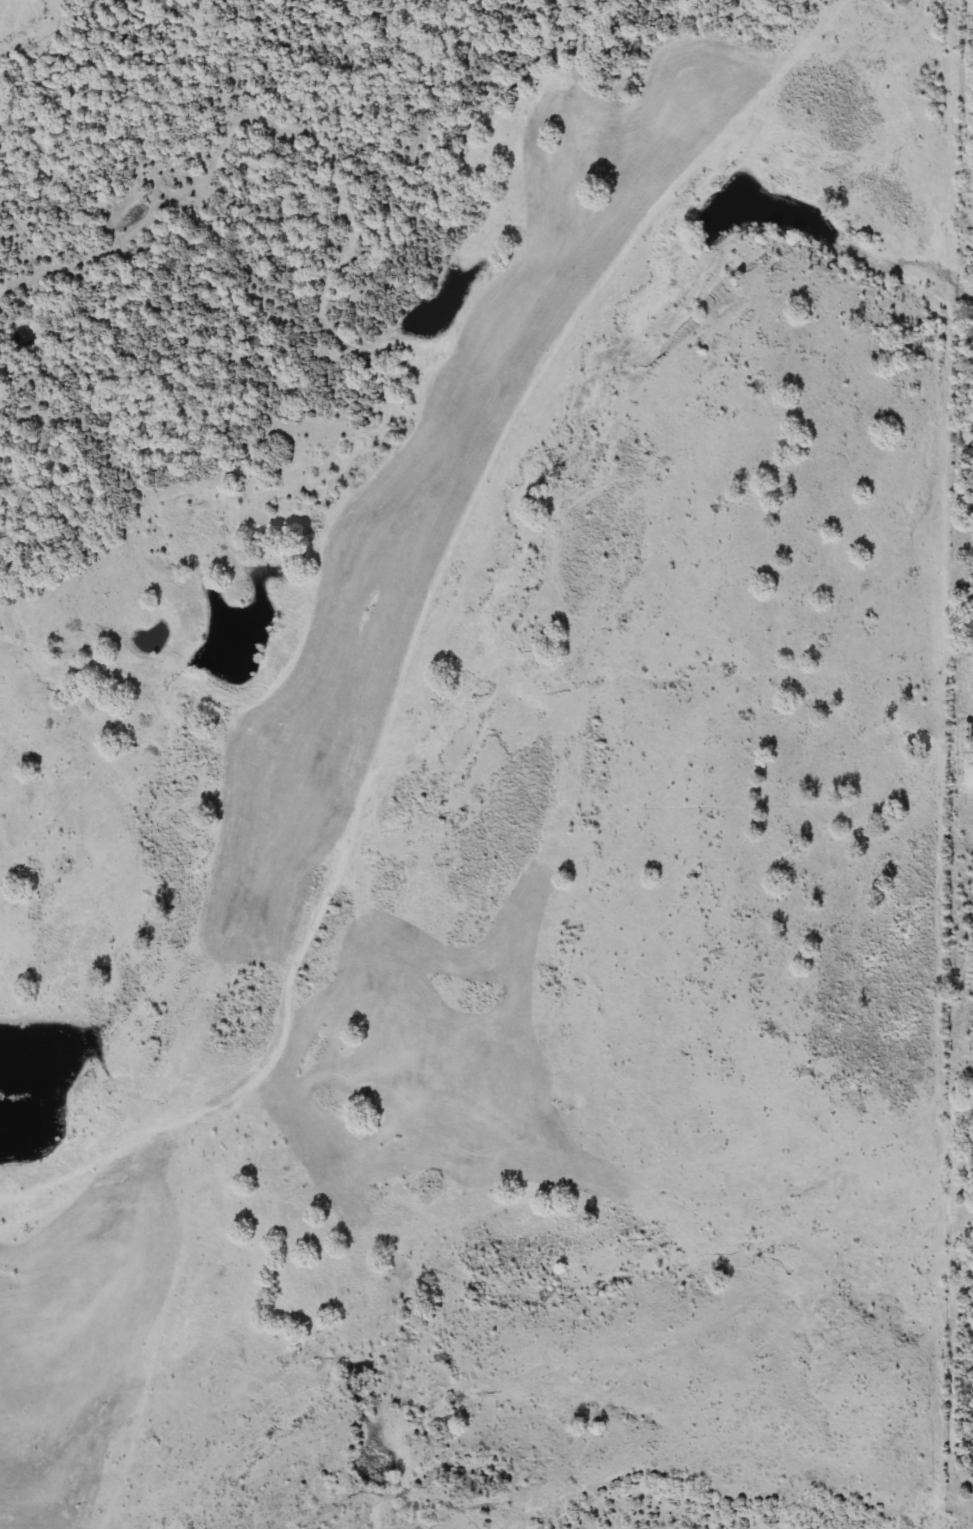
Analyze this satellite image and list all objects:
power tower: (903, 174)

